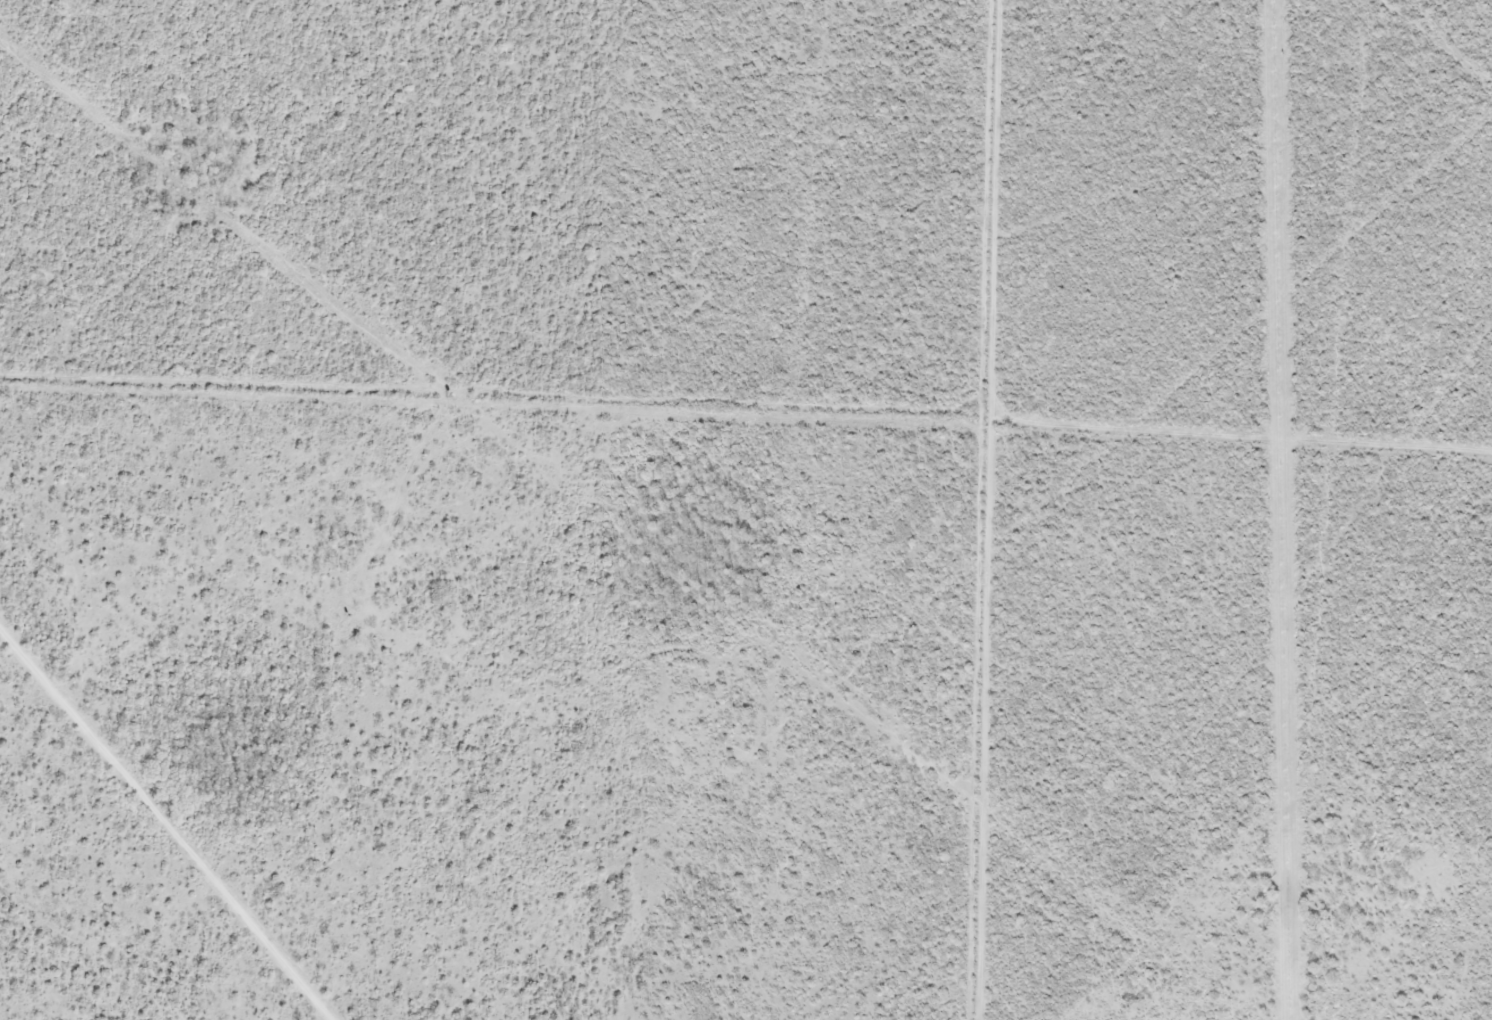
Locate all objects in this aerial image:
road: (3, 1002)

